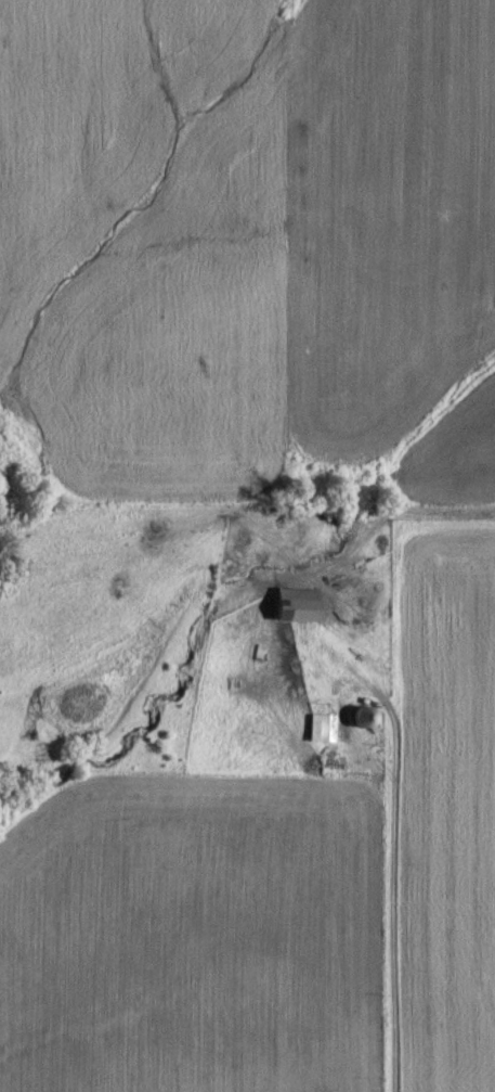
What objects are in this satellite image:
building: (290, 606)
building: (318, 729)
road: (391, 886)

